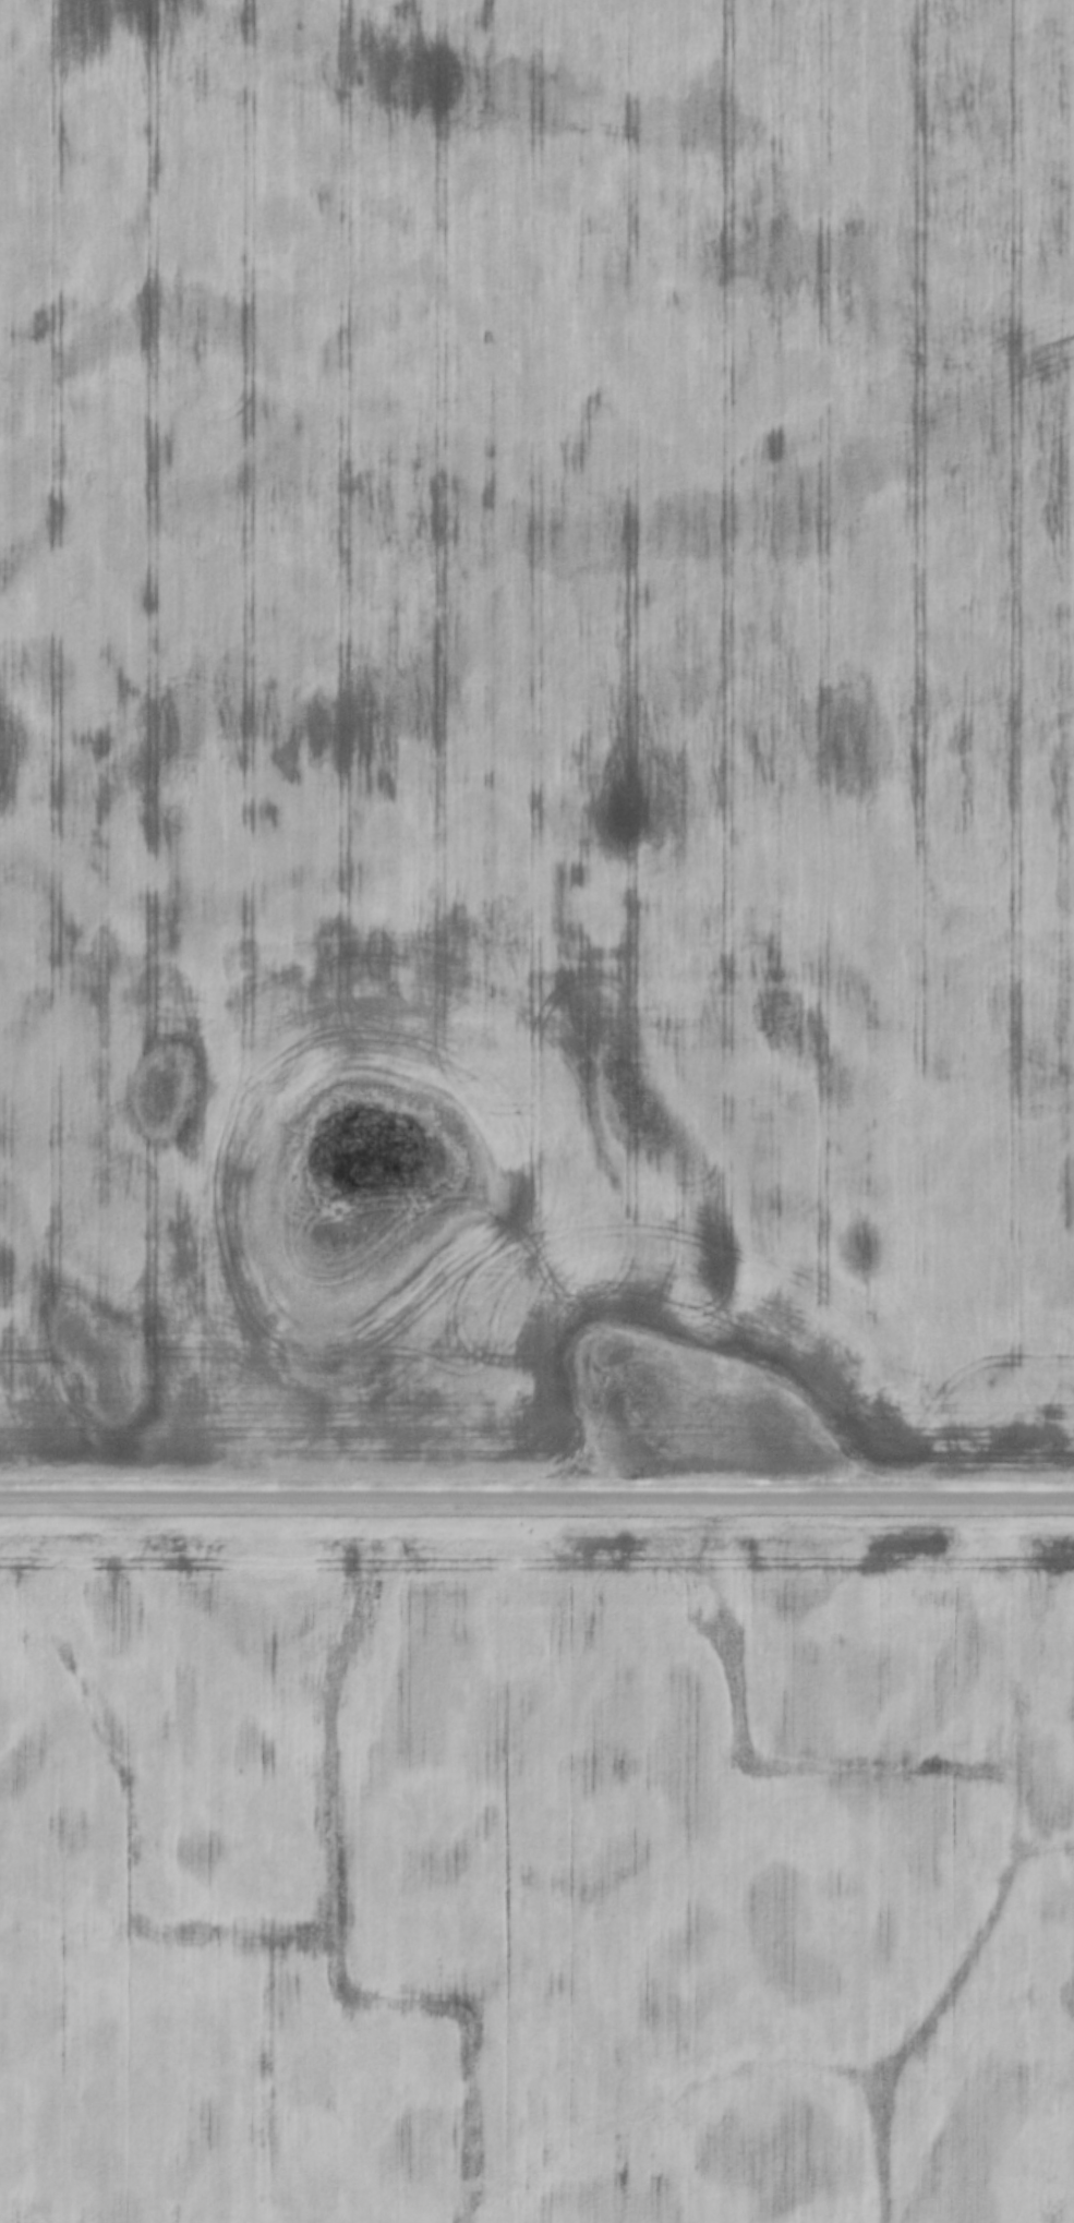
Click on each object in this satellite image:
road: (536, 1500)
building: (419, 1587)
building: (484, 1588)

